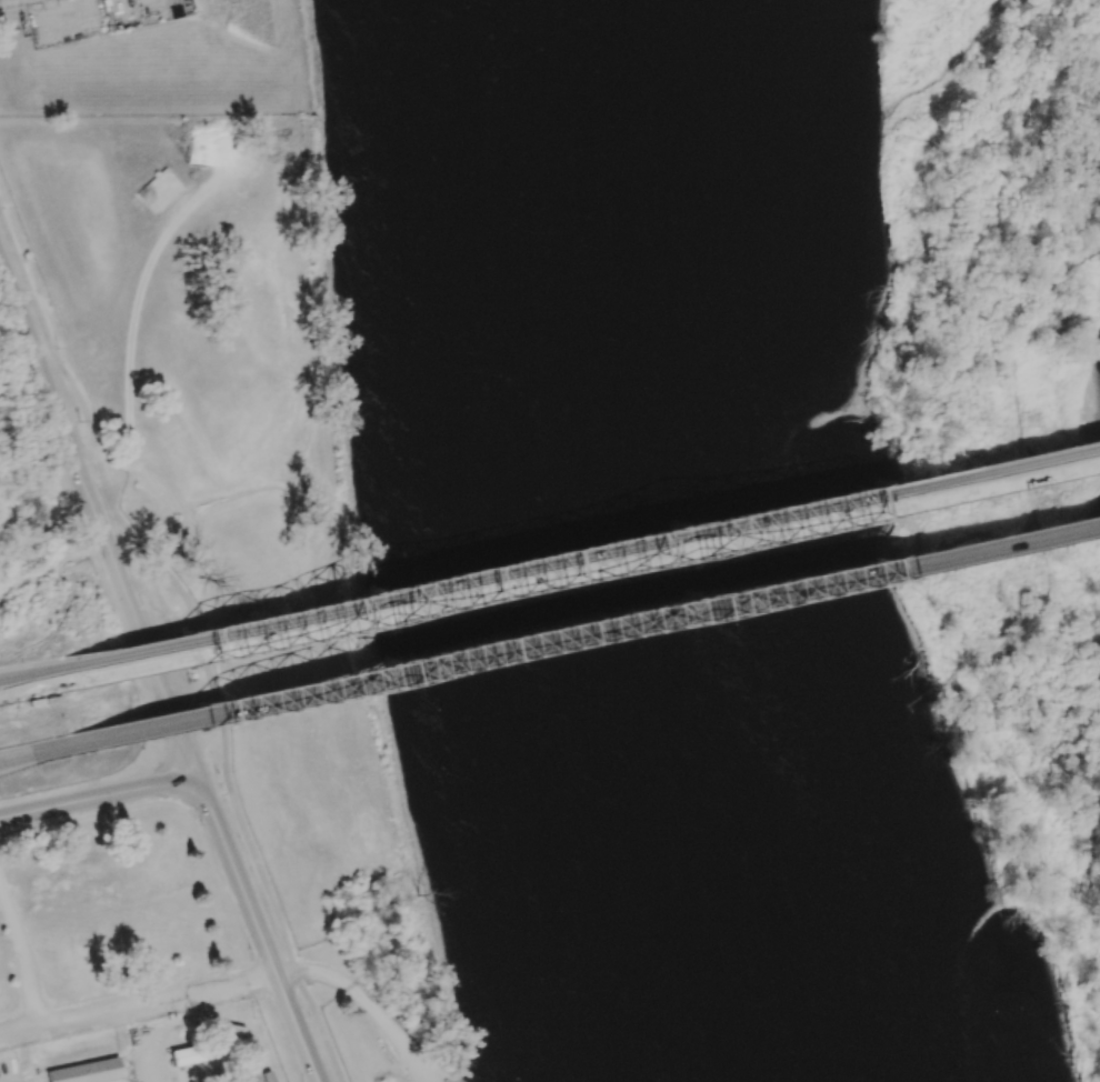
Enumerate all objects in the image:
road: (3, 1)
parking lot: (92, 17)
road: (856, 507)
road: (94, 517)
river: (652, 547)
road: (866, 574)
road: (341, 618)
road: (196, 633)
road: (29, 680)
road: (34, 682)
road: (350, 683)
road: (34, 750)
road: (9, 757)
road: (99, 797)
road: (258, 928)
road: (369, 1000)
road: (96, 1008)
building: (186, 1055)
building: (88, 1071)

